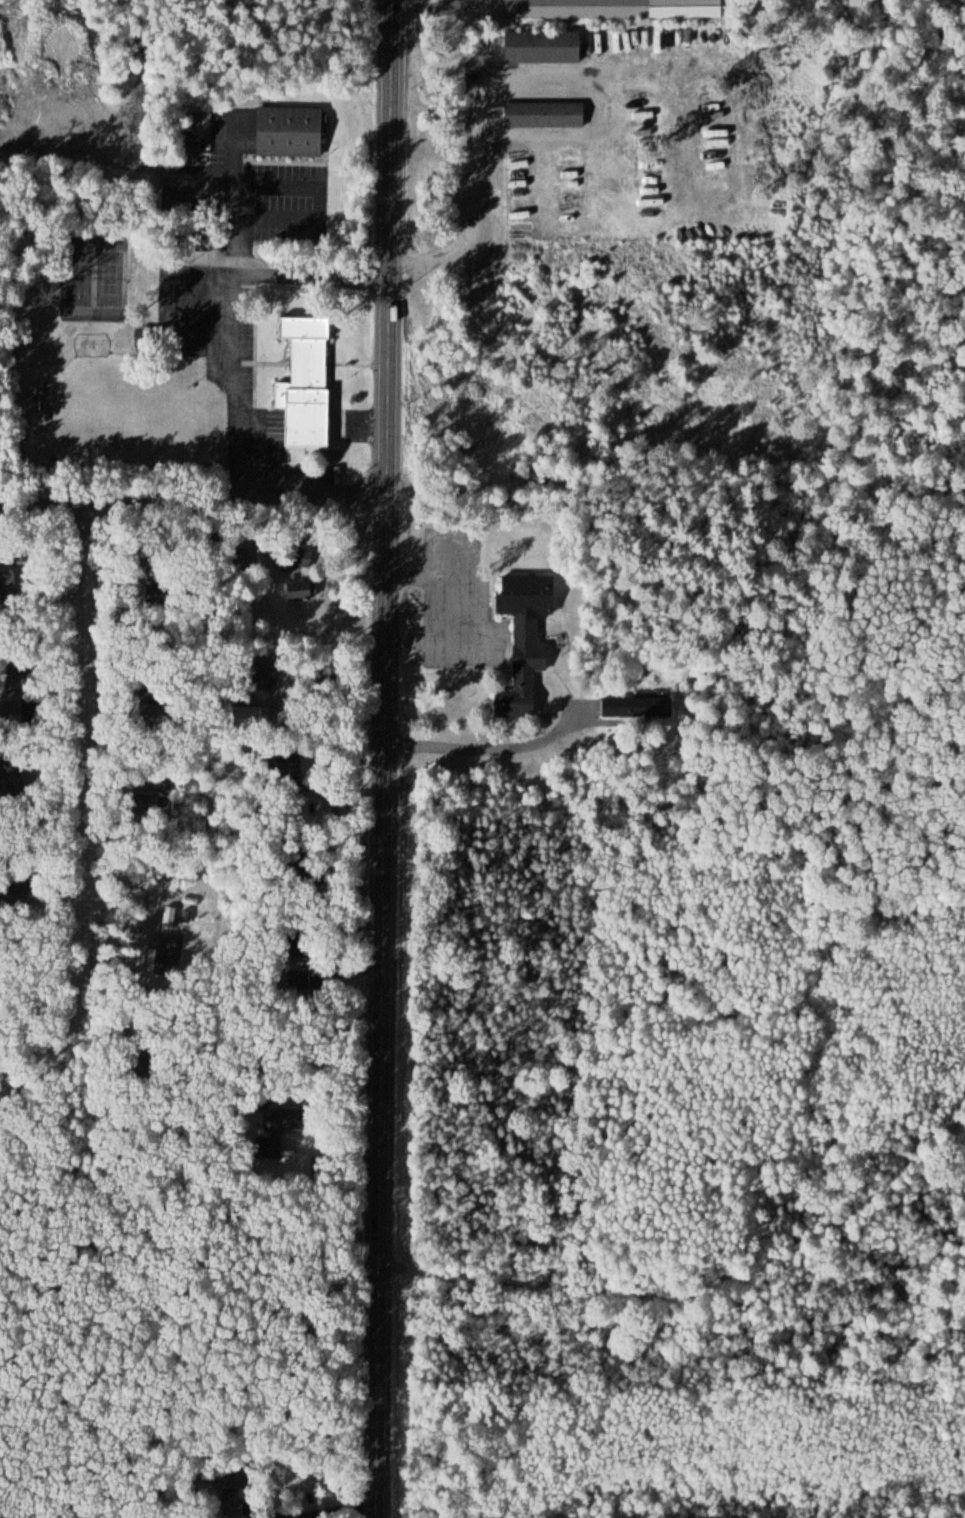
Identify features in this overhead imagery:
building: (580, 9)
building: (544, 46)
building: (546, 114)
building: (292, 131)
building: (310, 386)
road: (192, 501)
building: (7, 581)
building: (302, 589)
building: (526, 638)
building: (638, 706)
road: (382, 759)
road: (86, 818)
building: (168, 949)
building: (277, 1135)
building: (238, 1490)

